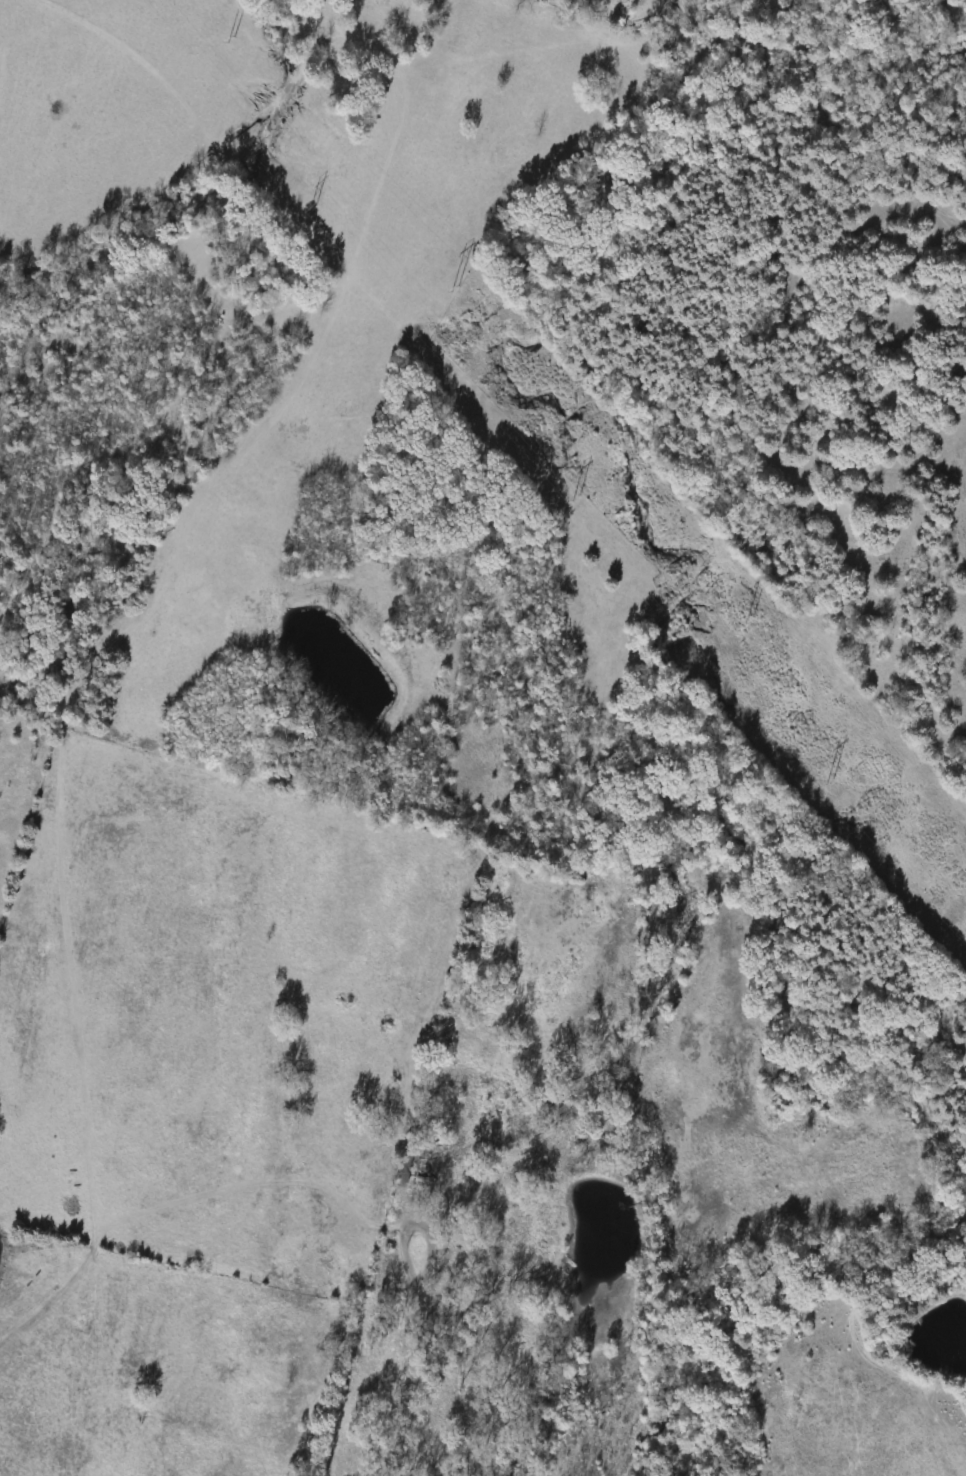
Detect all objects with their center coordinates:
power tower: (233, 42)
power tower: (311, 206)
power tower: (455, 290)
power tower: (573, 496)
power tower: (745, 617)
power tower: (828, 784)
building: (424, 1167)
road: (413, 1219)
road: (406, 1382)

